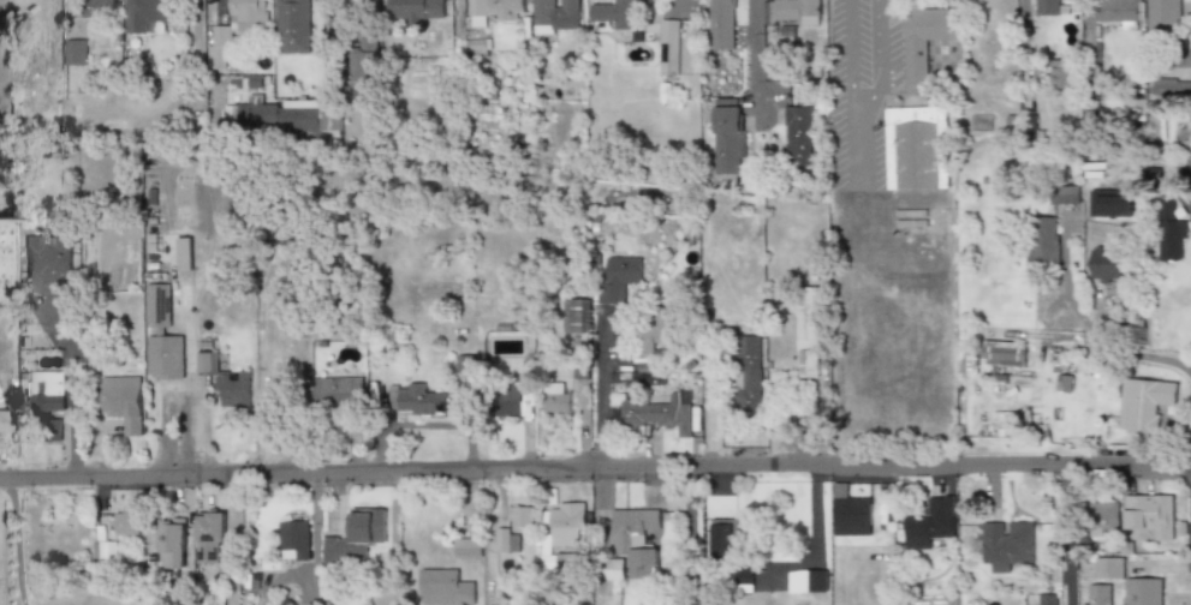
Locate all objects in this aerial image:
building: (1046, 7)
building: (99, 8)
building: (416, 10)
building: (1115, 10)
building: (249, 11)
building: (490, 11)
building: (614, 11)
building: (796, 11)
building: (148, 13)
building: (555, 16)
building: (1160, 18)
building: (721, 24)
building: (291, 26)
road: (327, 41)
building: (923, 42)
building: (478, 44)
building: (668, 46)
building: (219, 47)
building: (75, 50)
road: (850, 54)
road: (755, 60)
road: (881, 60)
road: (1184, 61)
building: (363, 71)
building: (1059, 73)
building: (1171, 89)
building: (279, 115)
building: (797, 136)
building: (728, 139)
road: (854, 145)
building: (912, 148)
building: (1066, 193)
building: (1110, 203)
building: (1171, 233)
building: (1046, 244)
building: (183, 253)
building: (46, 263)
building: (1107, 265)
building: (617, 277)
building: (156, 306)
building: (578, 316)
building: (805, 331)
building: (651, 336)
road: (1101, 336)
building: (1001, 353)
building: (163, 357)
building: (204, 361)
building: (464, 365)
building: (746, 373)
building: (233, 390)
road: (71, 391)
road: (599, 391)
building: (337, 393)
building: (43, 394)
building: (413, 399)
building: (505, 399)
building: (554, 399)
building: (121, 402)
building: (1144, 405)
building: (655, 412)
building: (53, 430)
road: (595, 468)
road: (314, 497)
building: (848, 513)
building: (1102, 515)
building: (1149, 515)
building: (519, 516)
building: (124, 521)
building: (929, 522)
road: (814, 533)
building: (560, 535)
road: (690, 535)
road: (1070, 535)
building: (208, 537)
building: (355, 538)
building: (635, 539)
building: (722, 539)
road: (17, 540)
road: (232, 540)
building: (293, 540)
building: (505, 541)
road: (312, 543)
building: (1005, 543)
building: (169, 544)
building: (466, 547)
building: (1109, 569)
building: (611, 570)
road: (280, 577)
building: (743, 577)
building: (806, 581)
road: (312, 585)
building: (443, 588)
building: (1143, 592)
building: (1098, 594)

